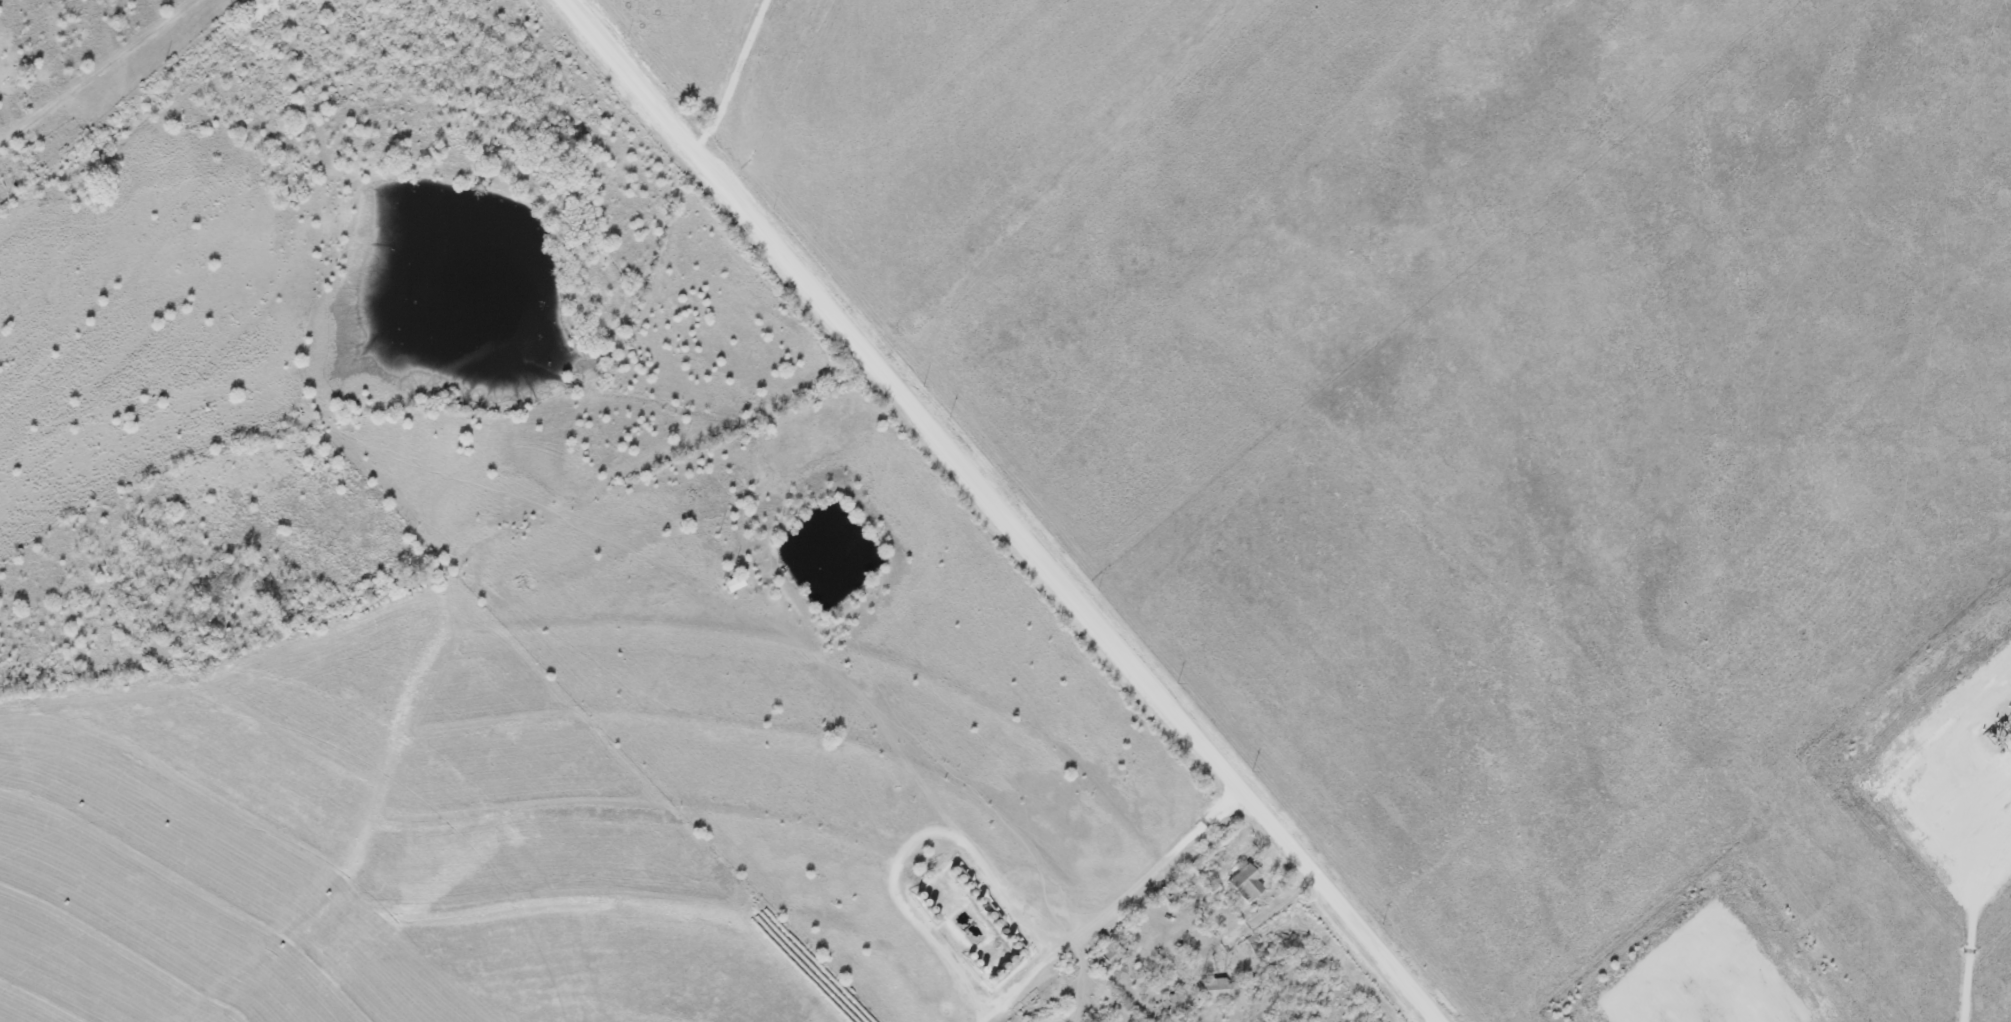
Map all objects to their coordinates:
road: (735, 75)
road: (1009, 510)
building: (1246, 884)
road: (1975, 946)
road: (1702, 978)
building: (1216, 991)
building: (1164, 1009)
road: (1438, 1019)

